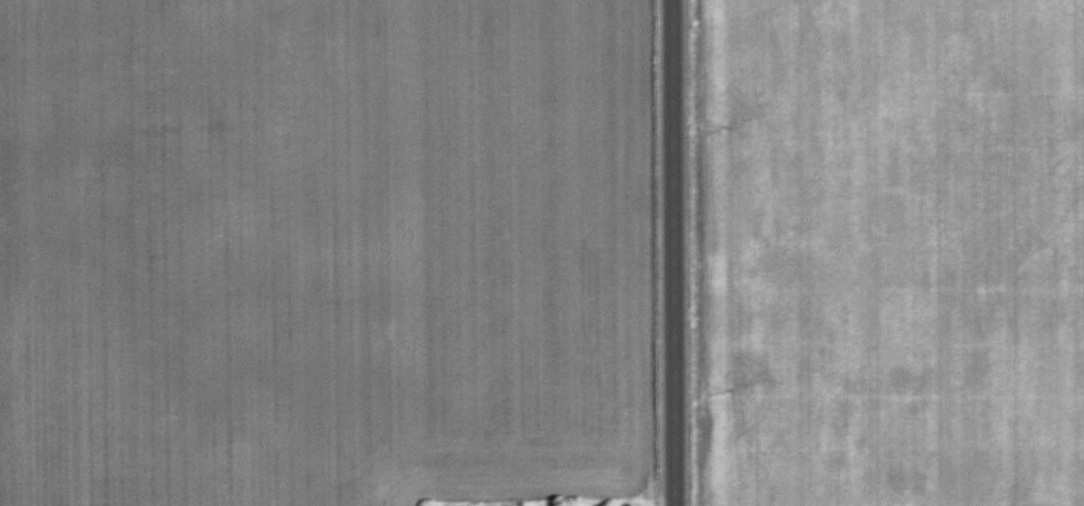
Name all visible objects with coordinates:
road: (674, 252)

